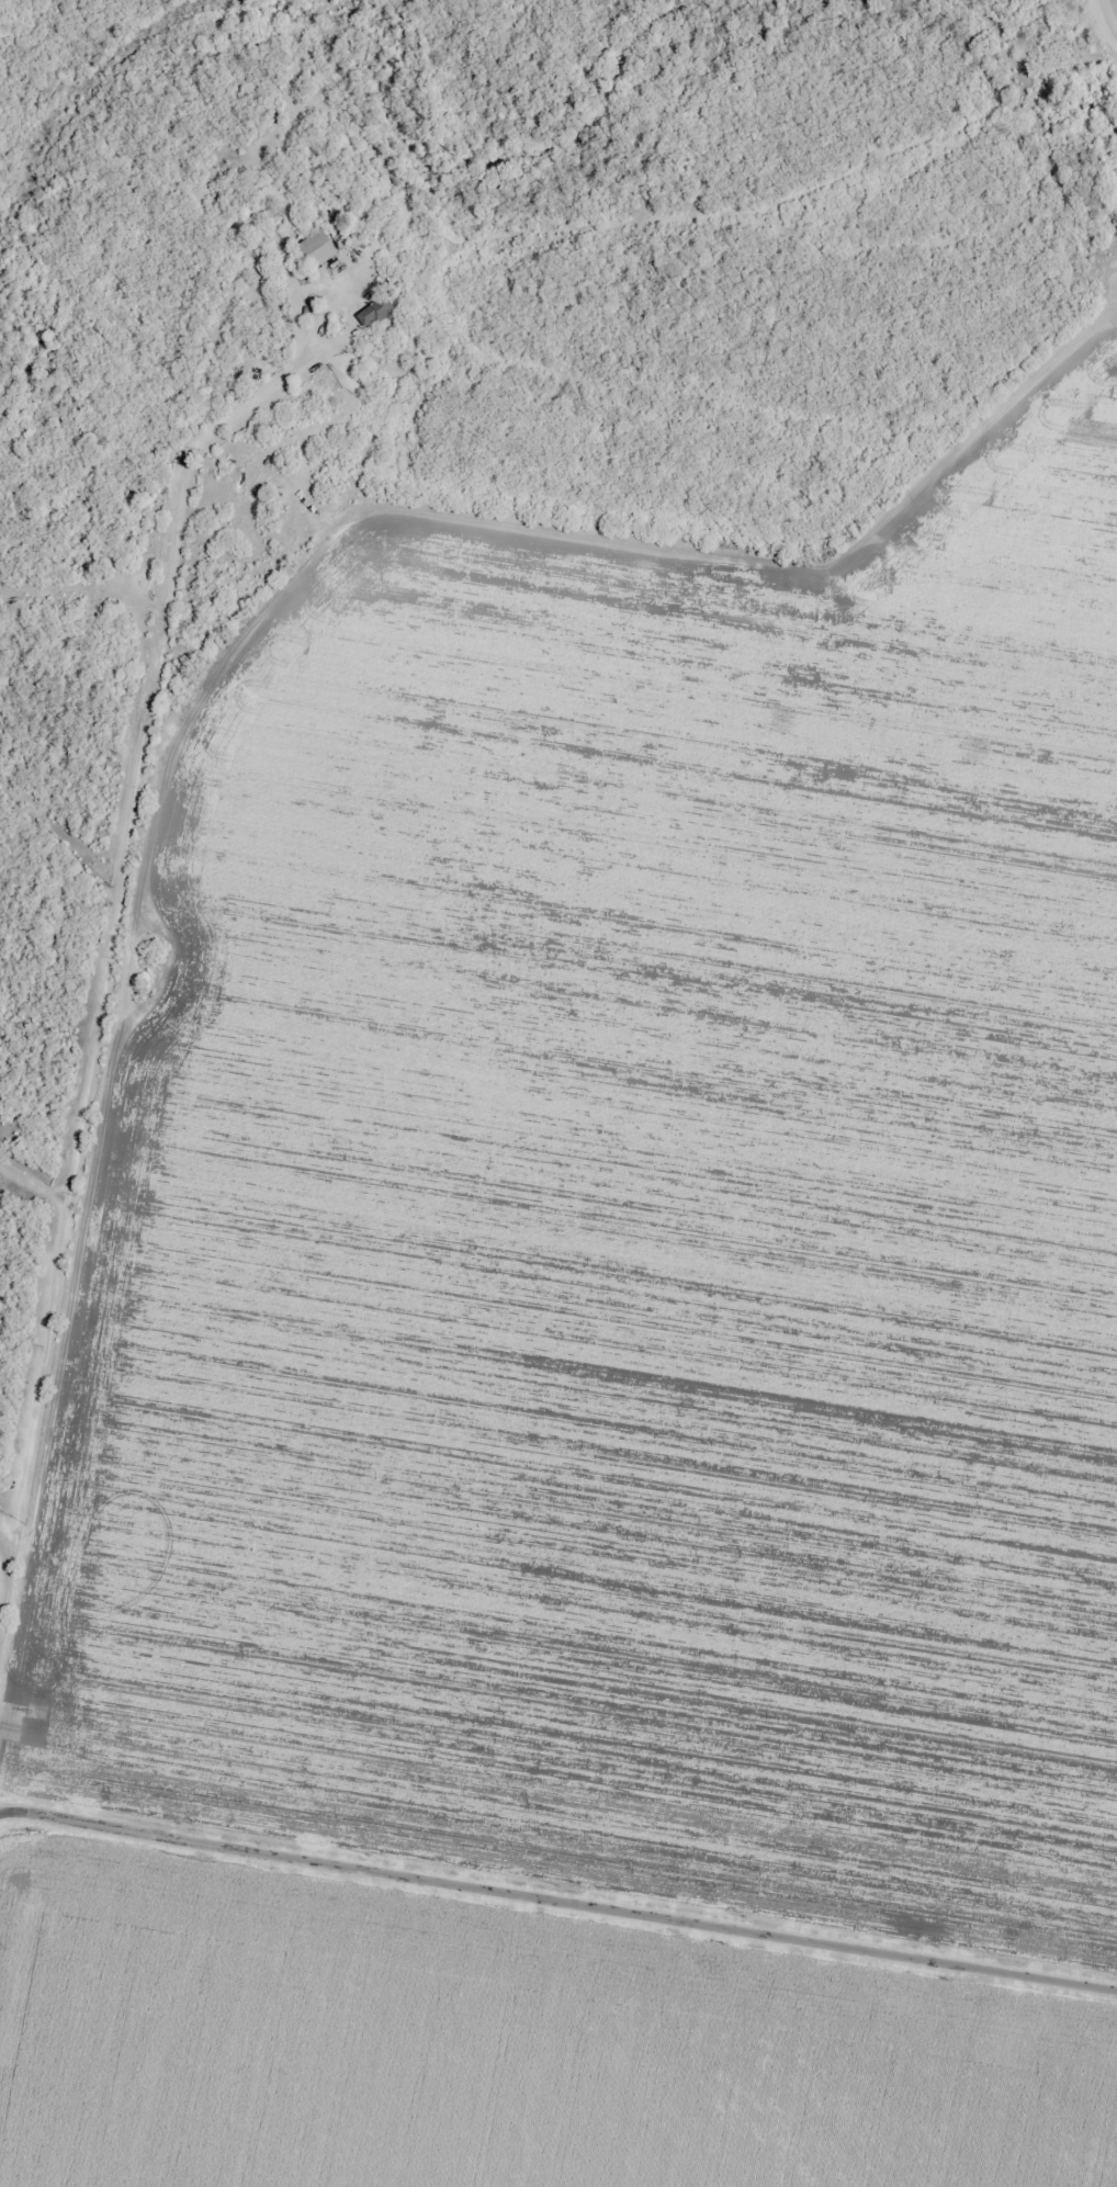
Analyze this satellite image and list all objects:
building: (312, 248)
building: (372, 309)
road: (104, 950)
road: (558, 1899)

